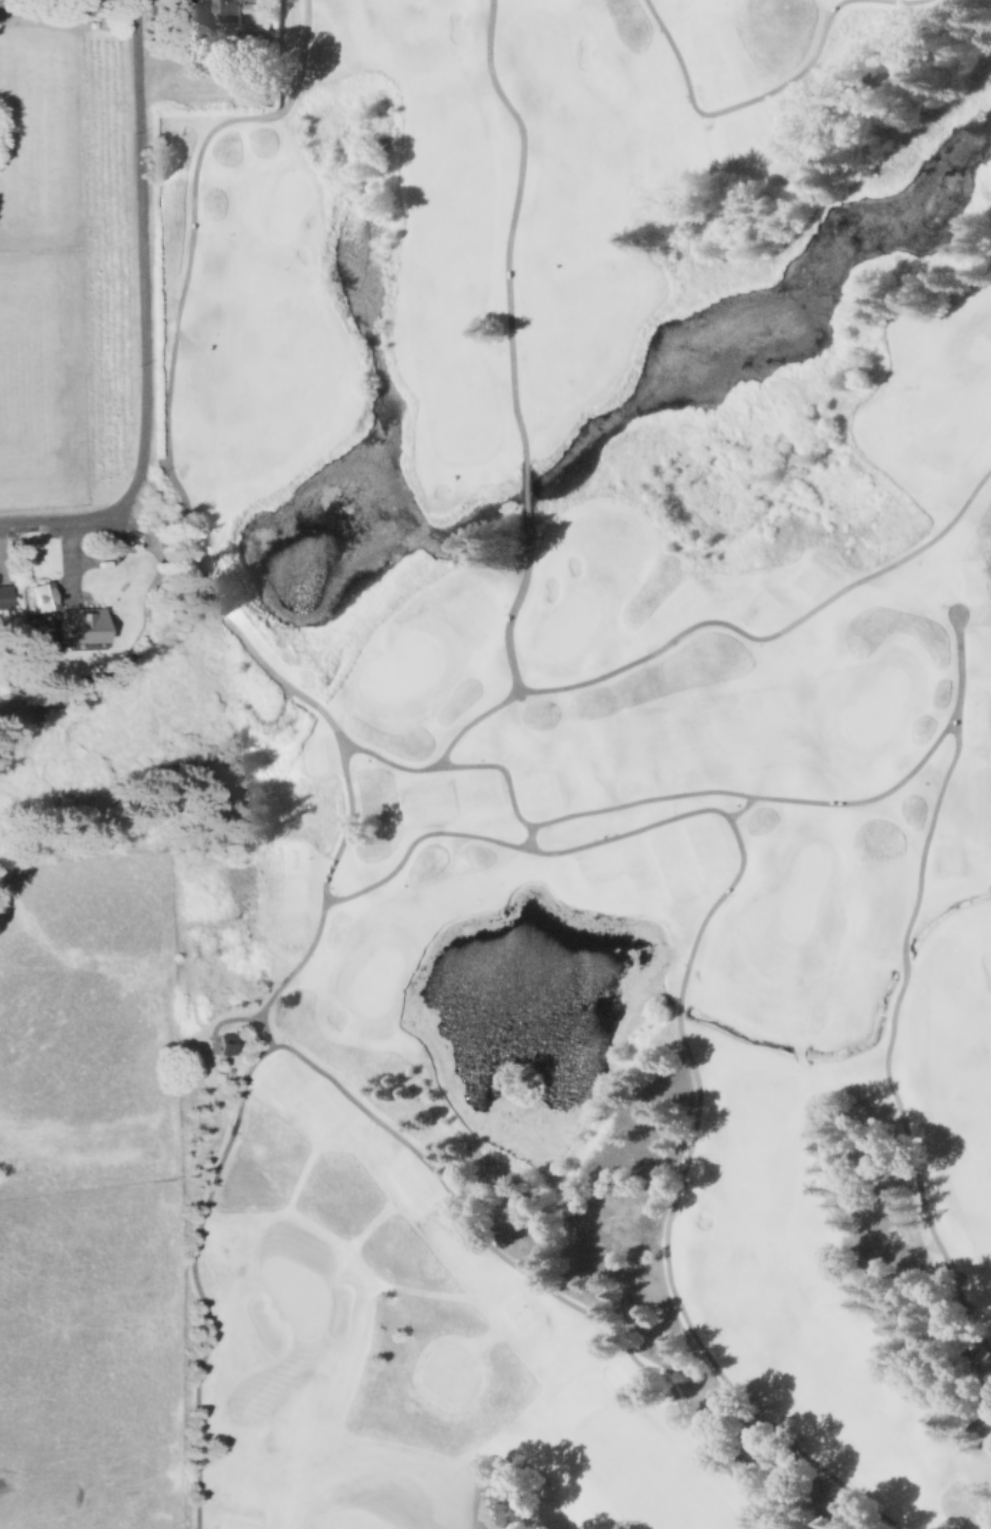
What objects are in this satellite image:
road: (899, 4)
building: (231, 8)
road: (733, 107)
road: (512, 224)
road: (142, 240)
road: (526, 506)
road: (75, 515)
road: (115, 550)
road: (70, 558)
building: (44, 595)
building: (6, 596)
road: (712, 621)
building: (81, 625)
park: (402, 666)
road: (273, 718)
road: (472, 720)
park: (581, 765)
road: (691, 791)
road: (740, 808)
road: (427, 836)
road: (528, 837)
road: (225, 1017)
road: (254, 1017)
road: (890, 1033)
building: (223, 1040)
road: (468, 1222)
road: (195, 1281)

